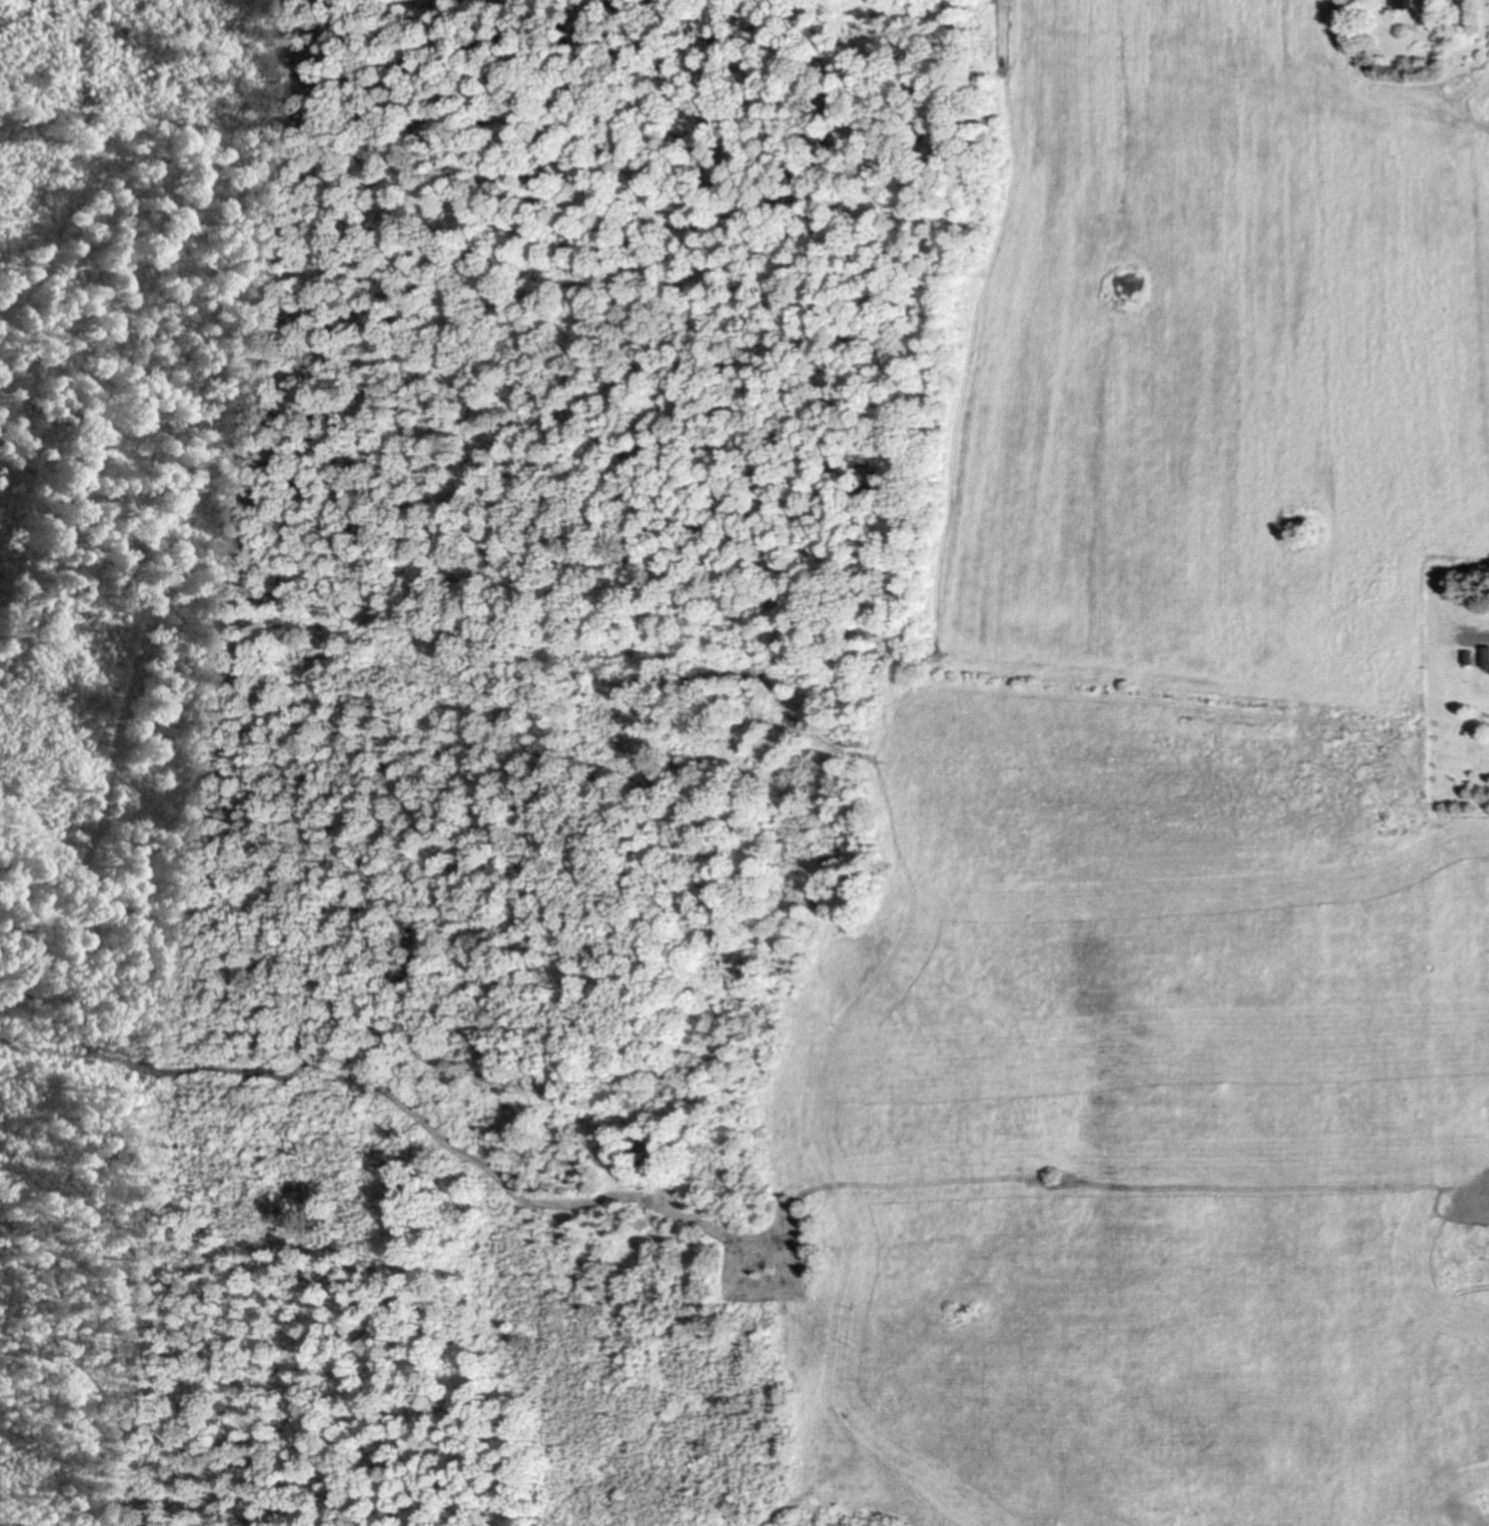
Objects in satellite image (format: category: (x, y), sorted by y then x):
building: (1410, 616)
building: (1420, 696)

